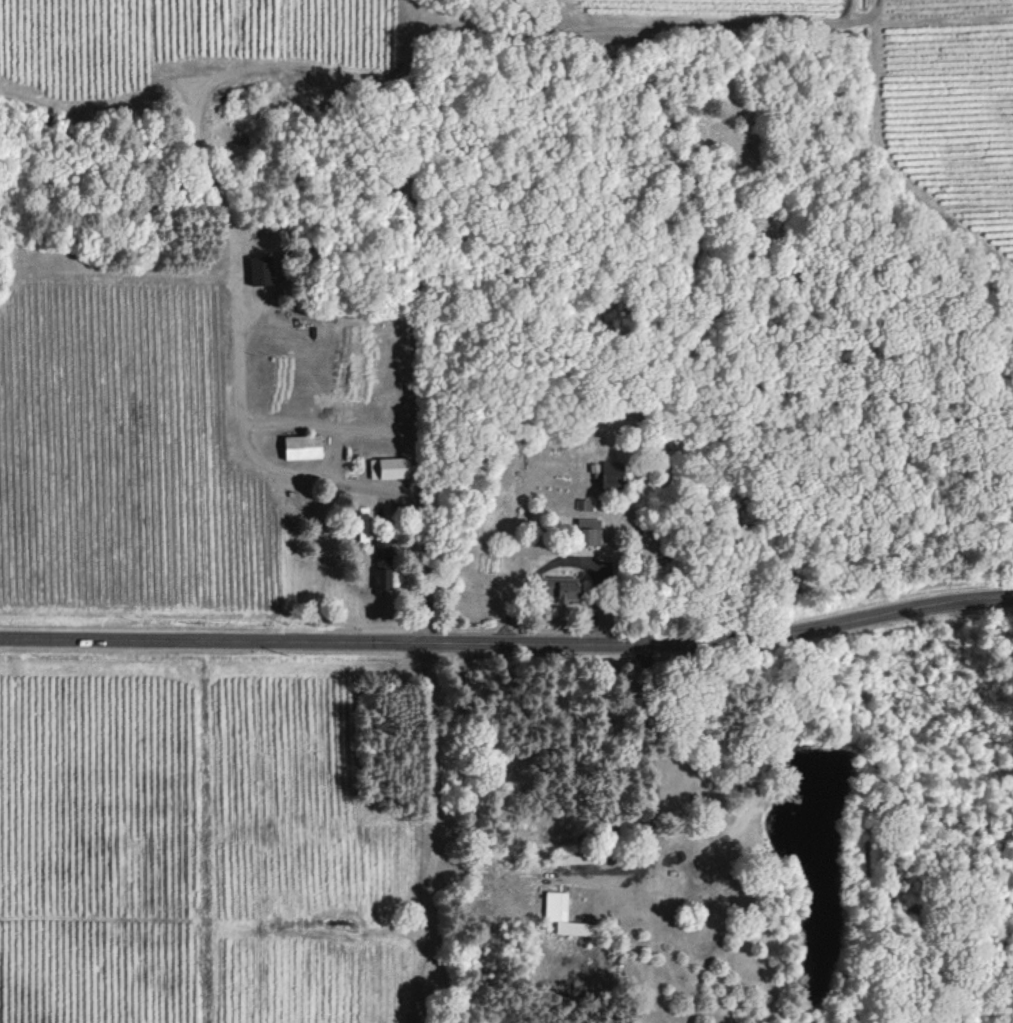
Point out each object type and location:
building: (259, 268)
road: (363, 428)
building: (301, 446)
building: (388, 467)
building: (611, 473)
building: (585, 503)
building: (588, 530)
building: (382, 564)
road: (533, 572)
building: (559, 586)
road: (508, 647)
road: (437, 768)
road: (649, 773)
building: (565, 915)
road: (435, 945)

